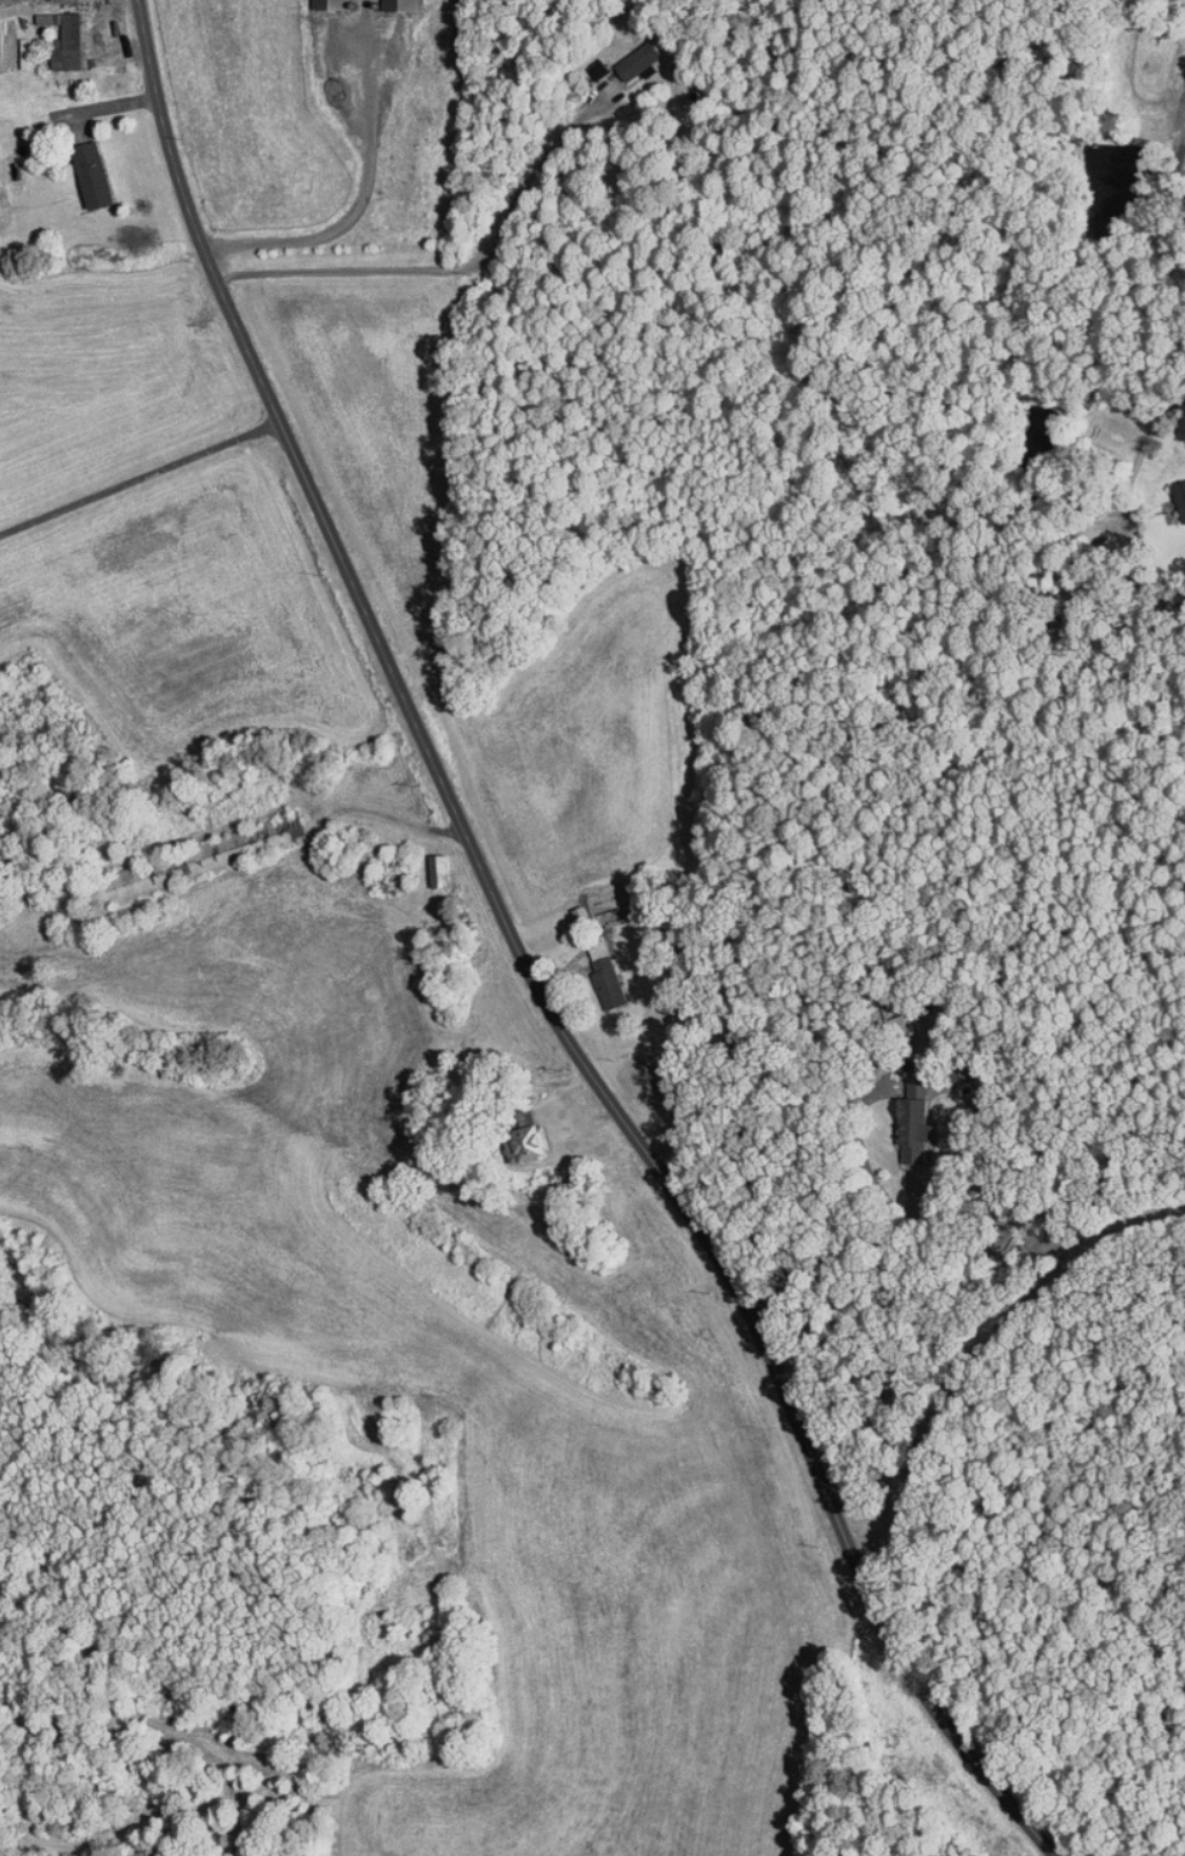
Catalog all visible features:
building: (311, 0)
building: (387, 1)
building: (59, 35)
building: (625, 53)
building: (84, 167)
road: (1172, 209)
road: (354, 211)
road: (452, 268)
road: (139, 476)
building: (1175, 491)
building: (186, 853)
building: (429, 862)
building: (571, 906)
building: (594, 964)
road: (524, 966)
building: (905, 1112)
building: (525, 1137)
road: (861, 1270)
road: (986, 1360)

